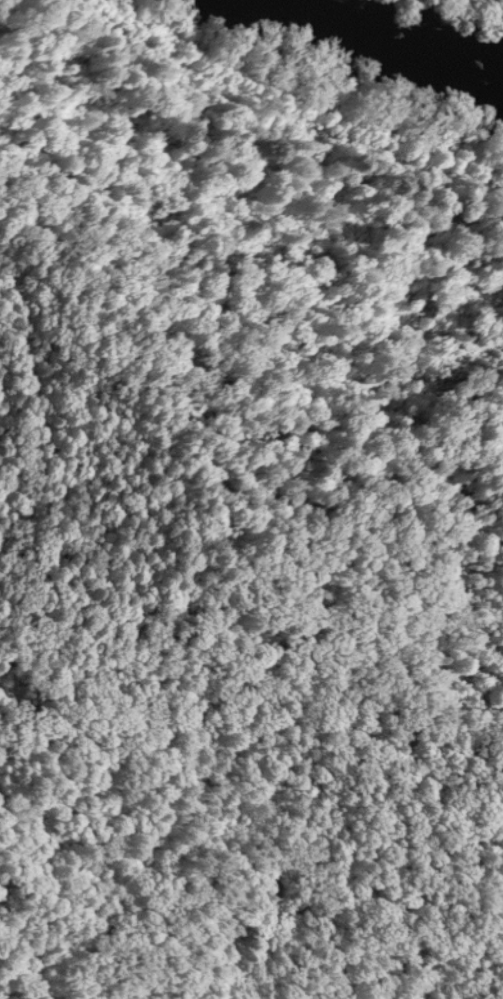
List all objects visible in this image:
river: (390, 50)
road: (271, 712)

